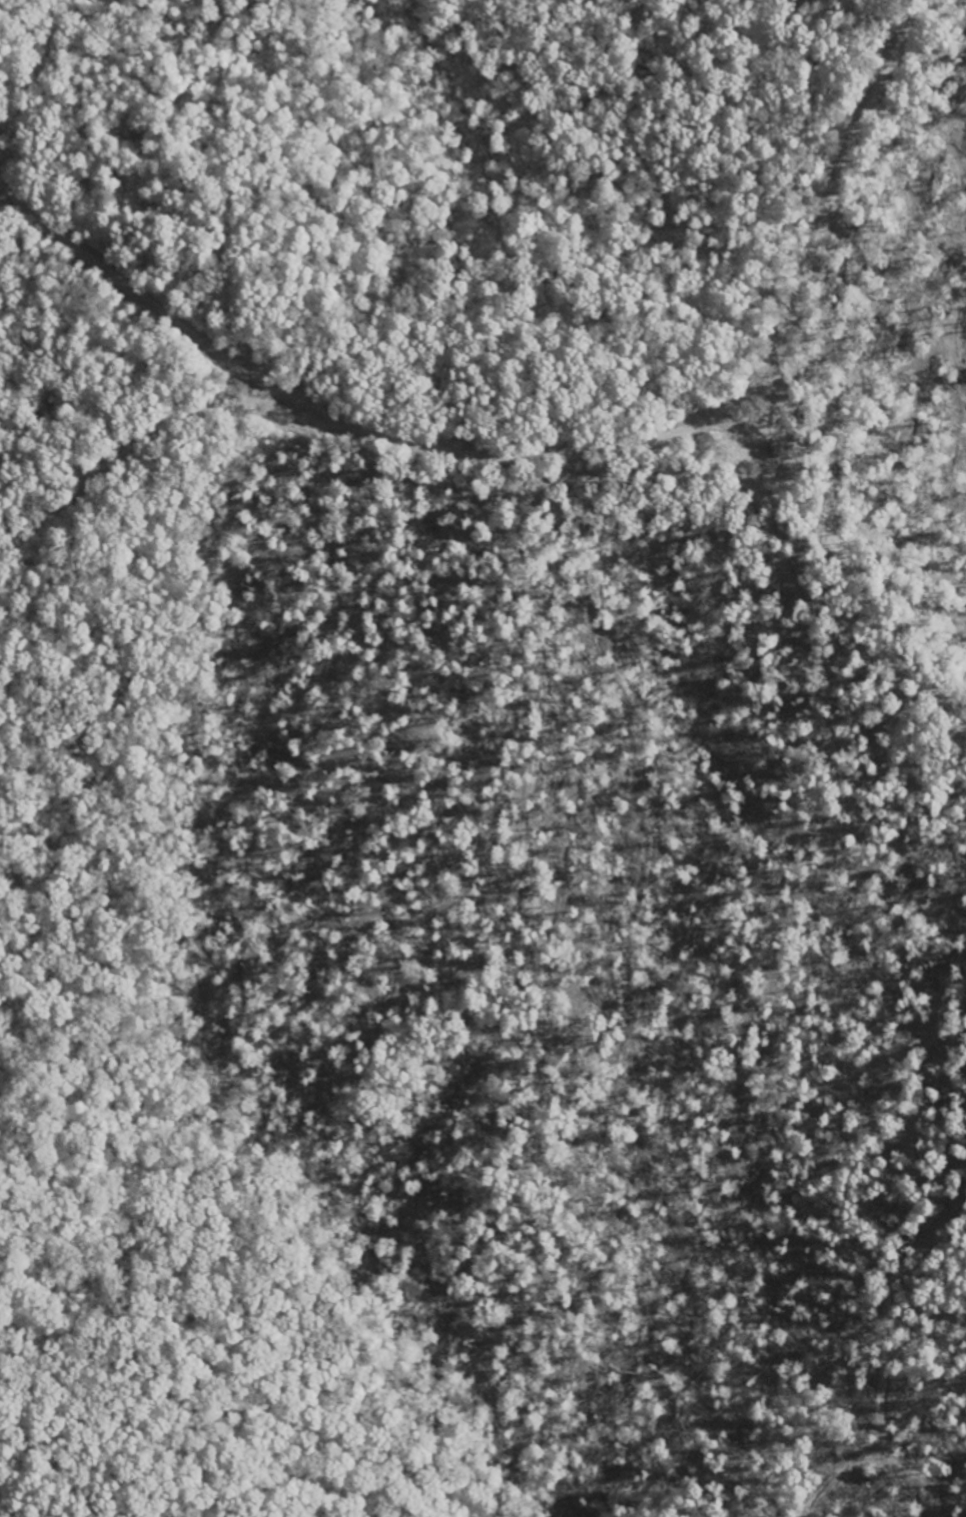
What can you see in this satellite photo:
road: (147, 436)
road: (554, 456)
road: (840, 550)

